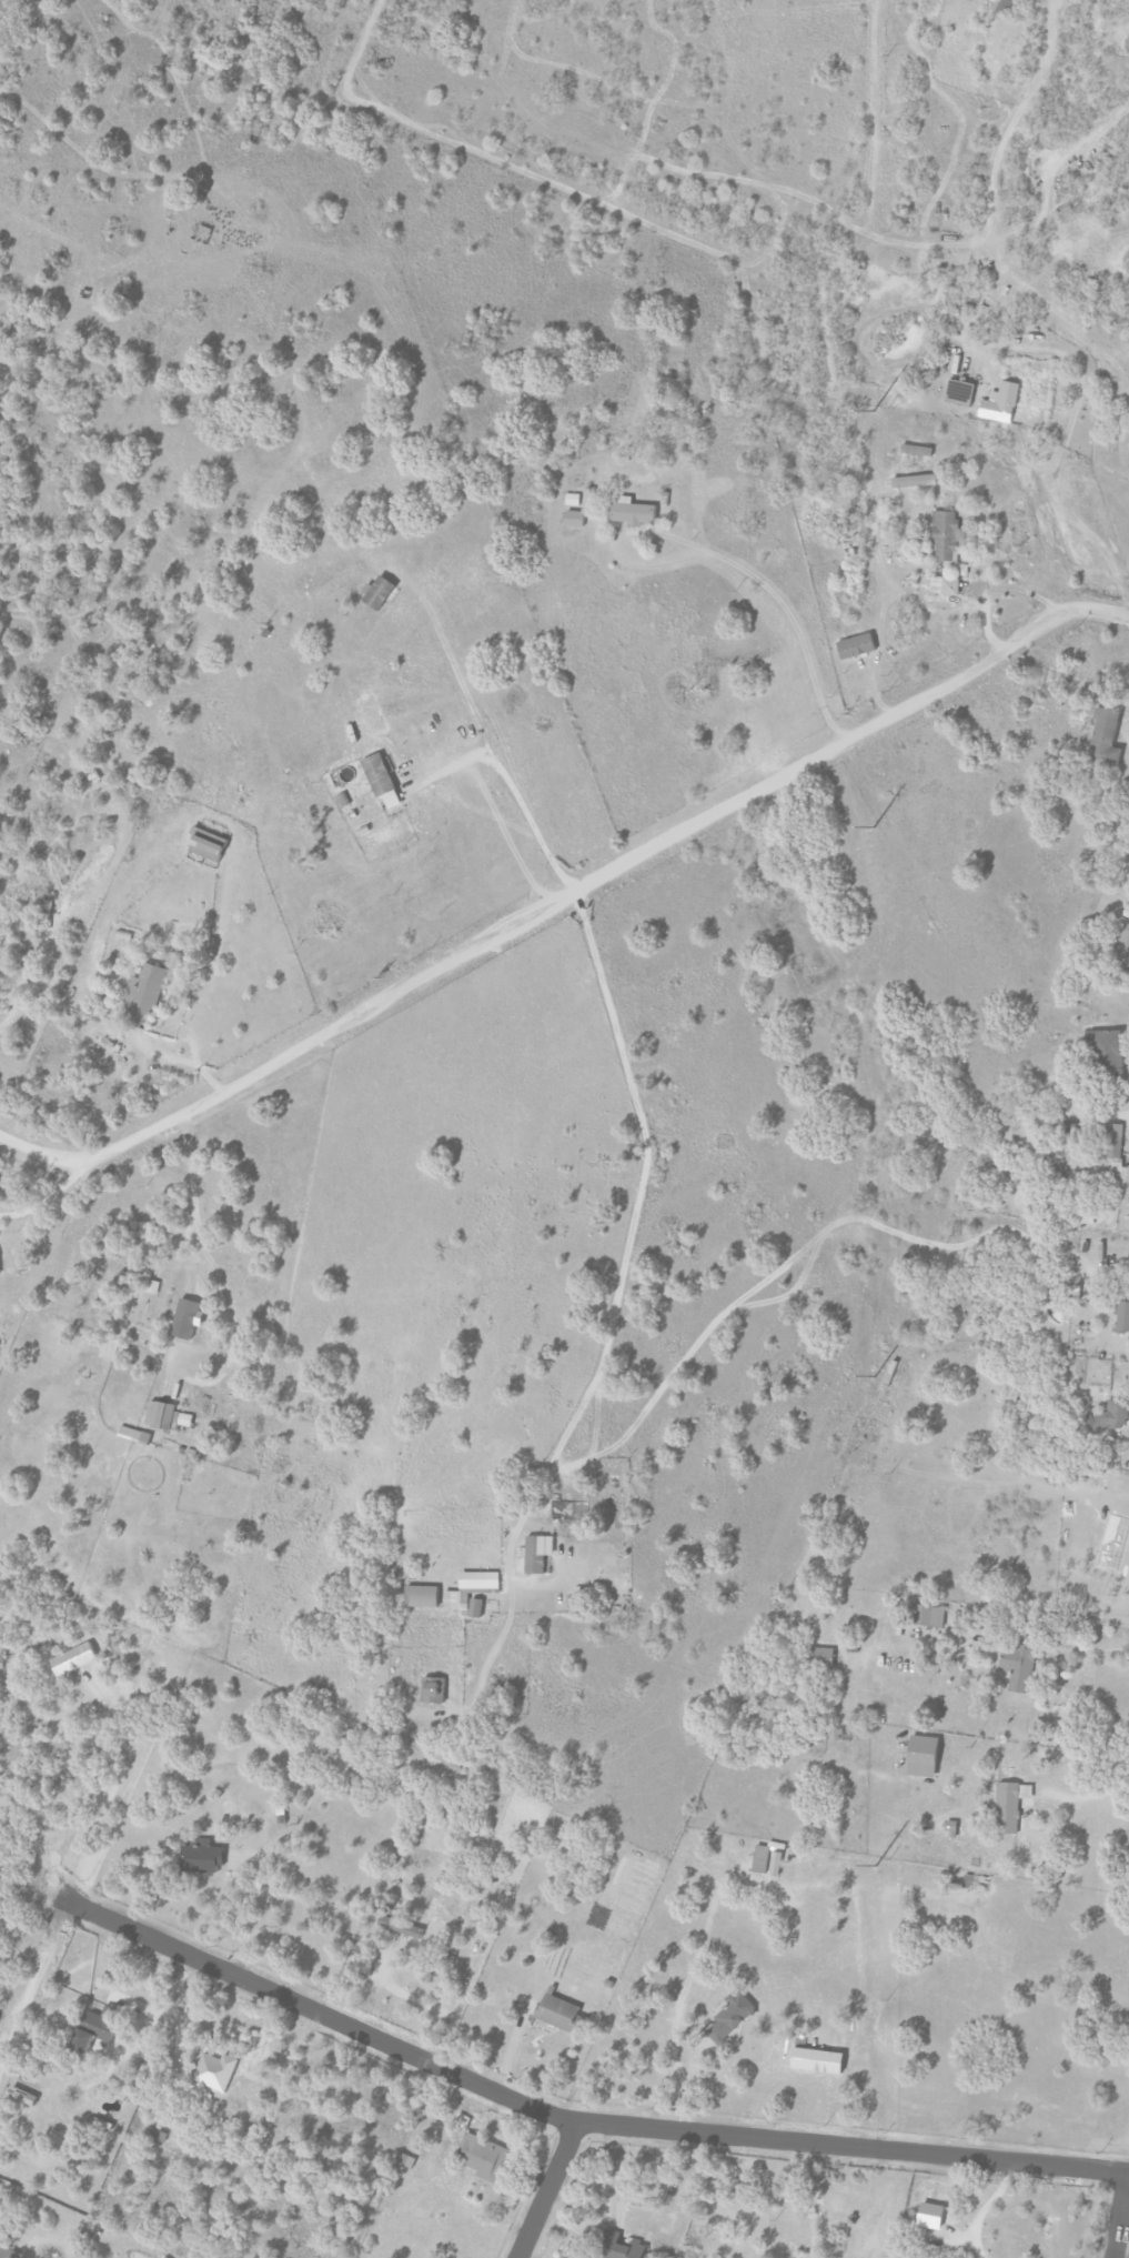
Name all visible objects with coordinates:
building: (1001, 4)
building: (961, 392)
building: (1002, 403)
power tower: (873, 411)
road: (1061, 439)
building: (916, 481)
building: (635, 511)
building: (576, 518)
building: (948, 534)
road: (728, 562)
building: (961, 569)
building: (947, 585)
building: (382, 590)
building: (858, 645)
road: (1125, 733)
building: (1106, 735)
road: (492, 743)
road: (460, 761)
building: (380, 774)
power tower: (871, 827)
building: (211, 844)
road: (563, 901)
building: (1123, 945)
building: (145, 988)
building: (1108, 1051)
road: (181, 1058)
building: (1113, 1130)
road: (643, 1136)
building: (1122, 1181)
road: (43, 1198)
road: (193, 1216)
road: (795, 1253)
building: (0, 1268)
building: (1121, 1316)
building: (189, 1318)
power tower: (873, 1376)
building: (1111, 1415)
building: (168, 1416)
building: (135, 1435)
road: (560, 1441)
road: (514, 1527)
building: (540, 1553)
building: (471, 1588)
building: (424, 1596)
building: (477, 1608)
building: (926, 1615)
road: (1092, 1650)
building: (819, 1657)
building: (1016, 1666)
building: (435, 1690)
building: (919, 1756)
road: (1088, 1797)
building: (1008, 1805)
building: (202, 1858)
building: (765, 1858)
power tower: (875, 1866)
road: (246, 1911)
building: (401, 1927)
road: (32, 1974)
building: (560, 2011)
building: (728, 2016)
building: (98, 2028)
building: (216, 2070)
road: (561, 2118)
building: (462, 2120)
building: (158, 2135)
building: (483, 2156)
building: (405, 2160)
road: (546, 2189)
road: (817, 2199)
road: (980, 2208)
building: (926, 2215)
road: (1122, 2216)
building: (622, 2247)
building: (8, 2252)

